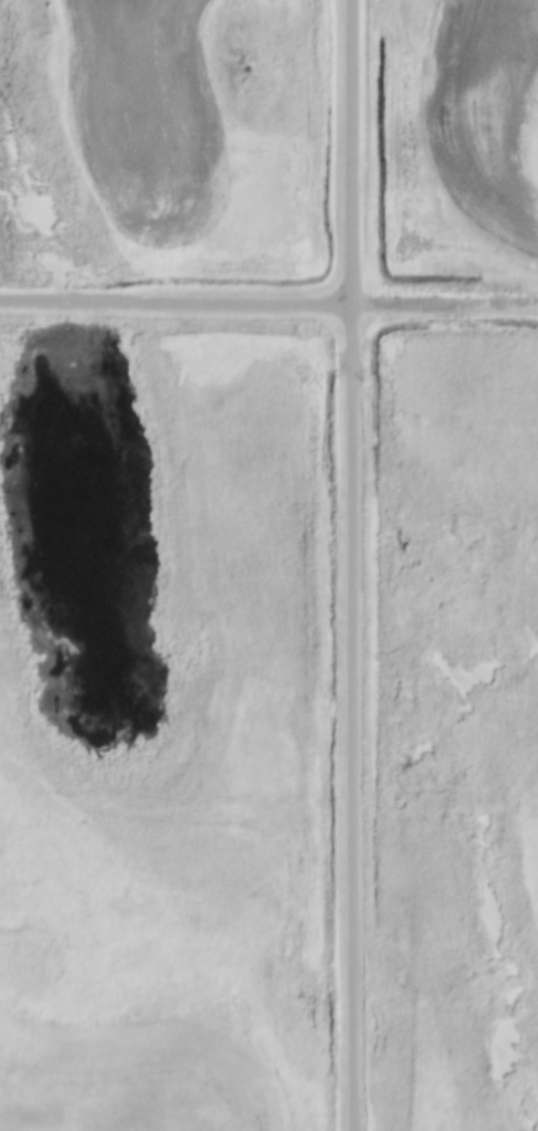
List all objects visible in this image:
road: (176, 301)
road: (445, 303)
road: (352, 565)

